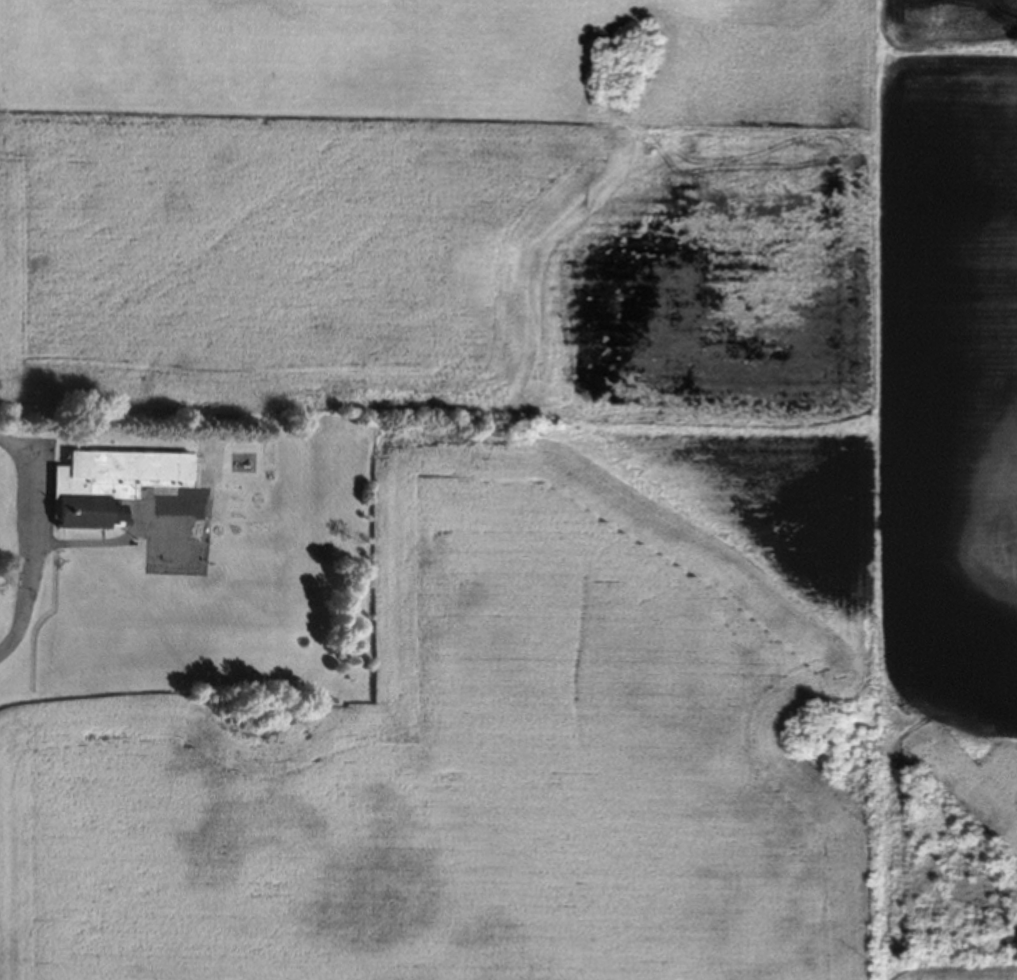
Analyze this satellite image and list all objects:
building: (129, 486)
road: (30, 539)

